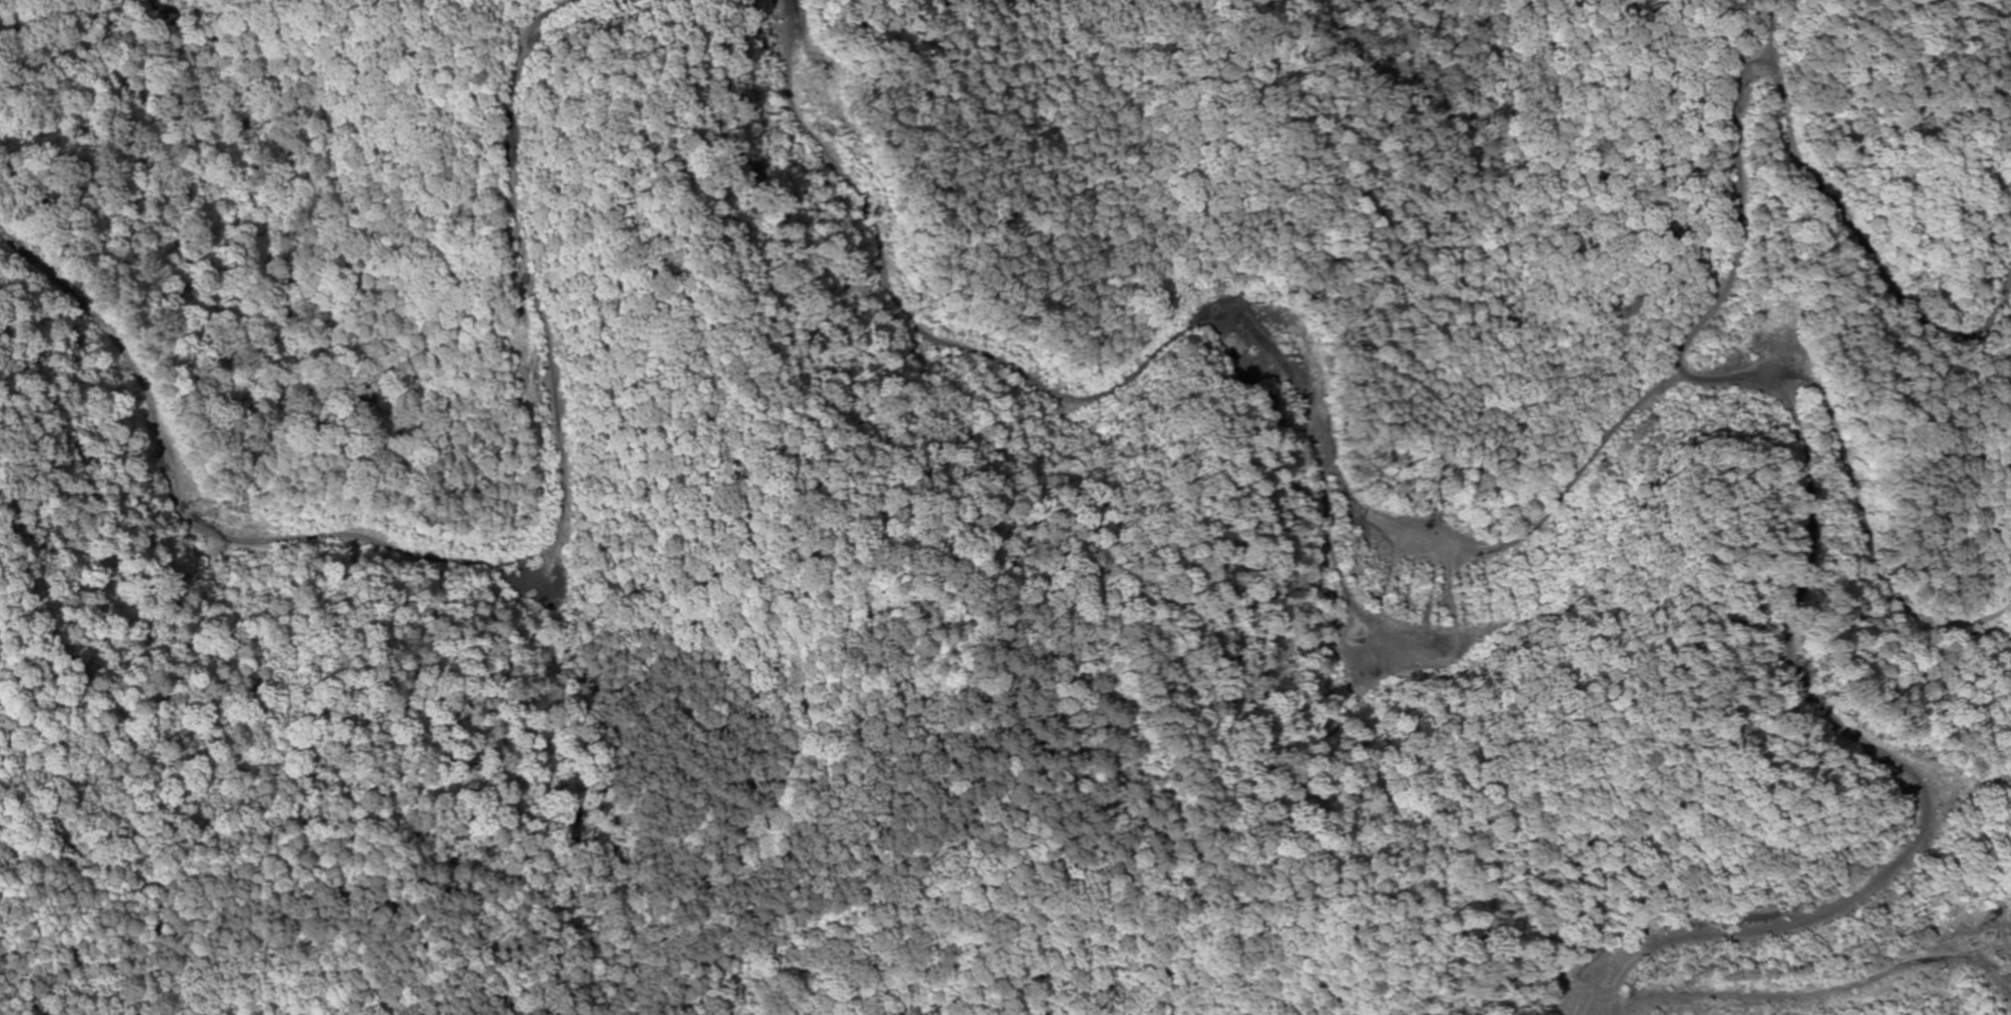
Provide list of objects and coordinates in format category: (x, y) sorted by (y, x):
road: (1615, 199)
road: (1866, 252)
building: (1755, 351)
building: (1816, 357)
road: (1345, 486)
road: (485, 565)
road: (1930, 774)

